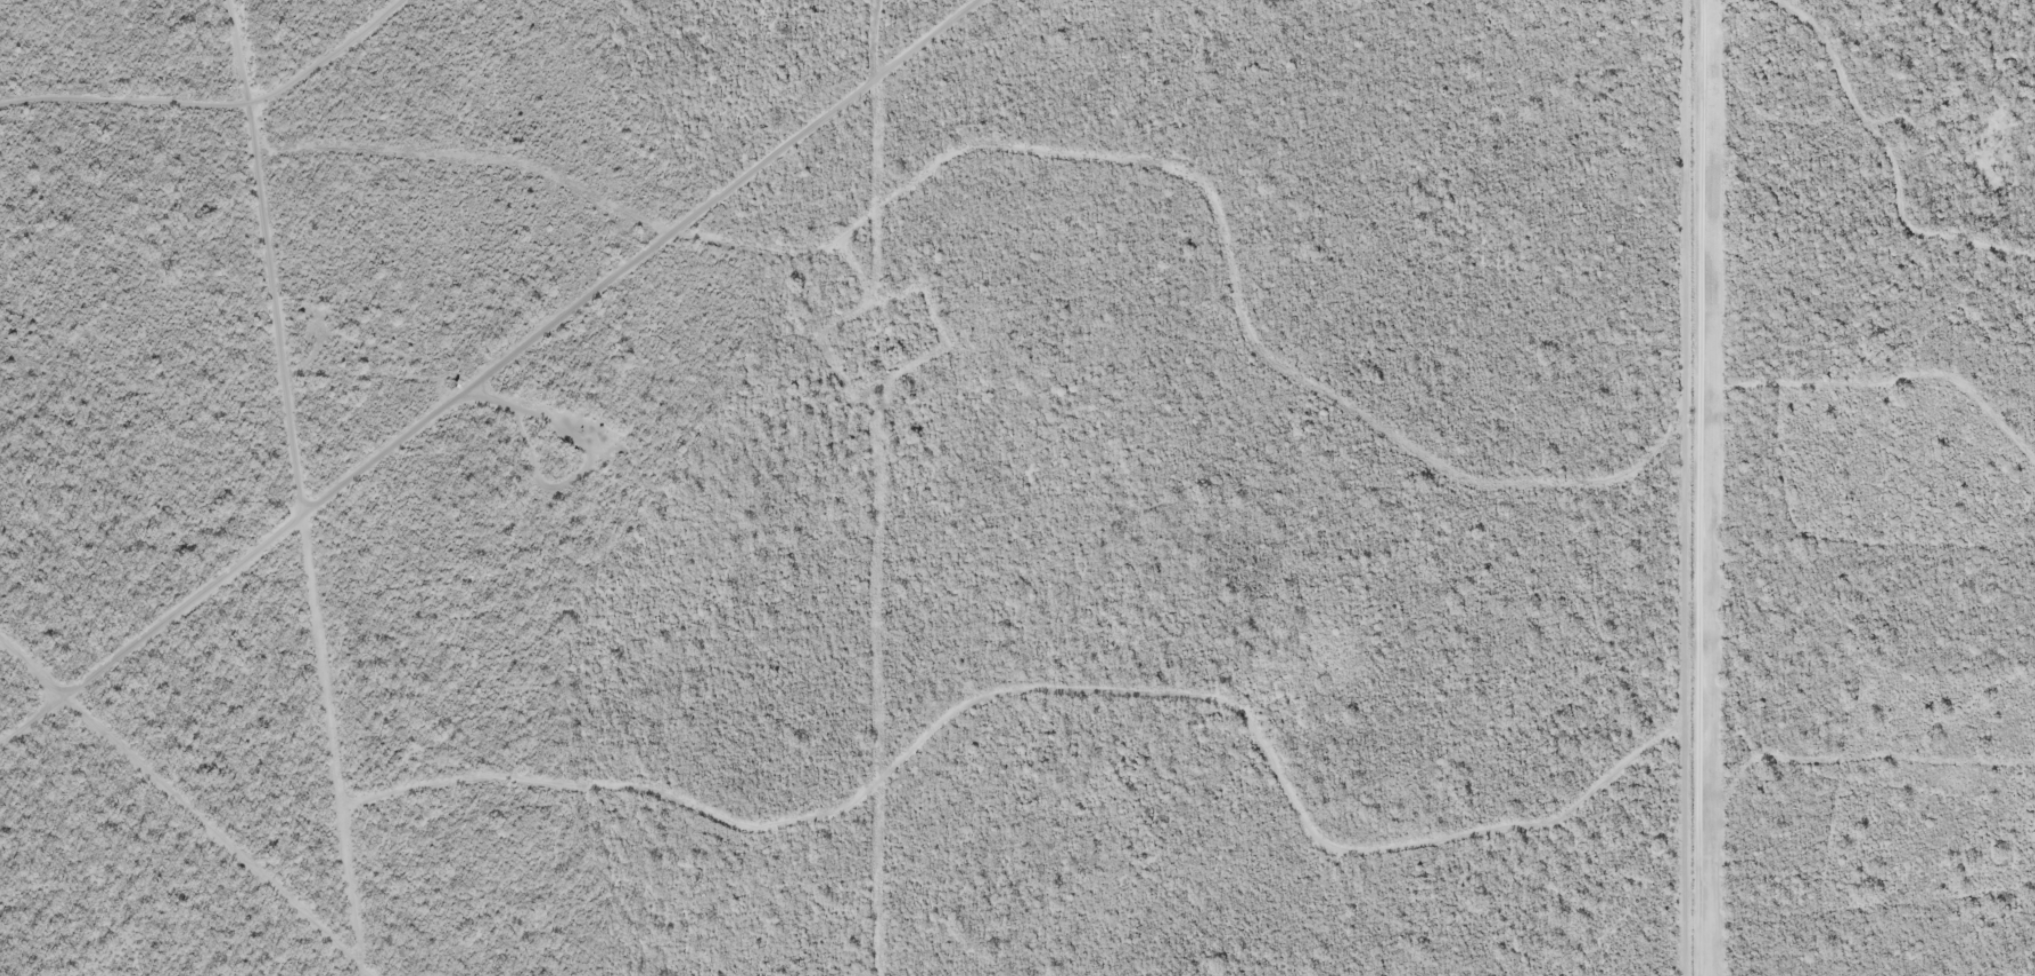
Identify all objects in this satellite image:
road: (1699, 487)
road: (187, 806)

